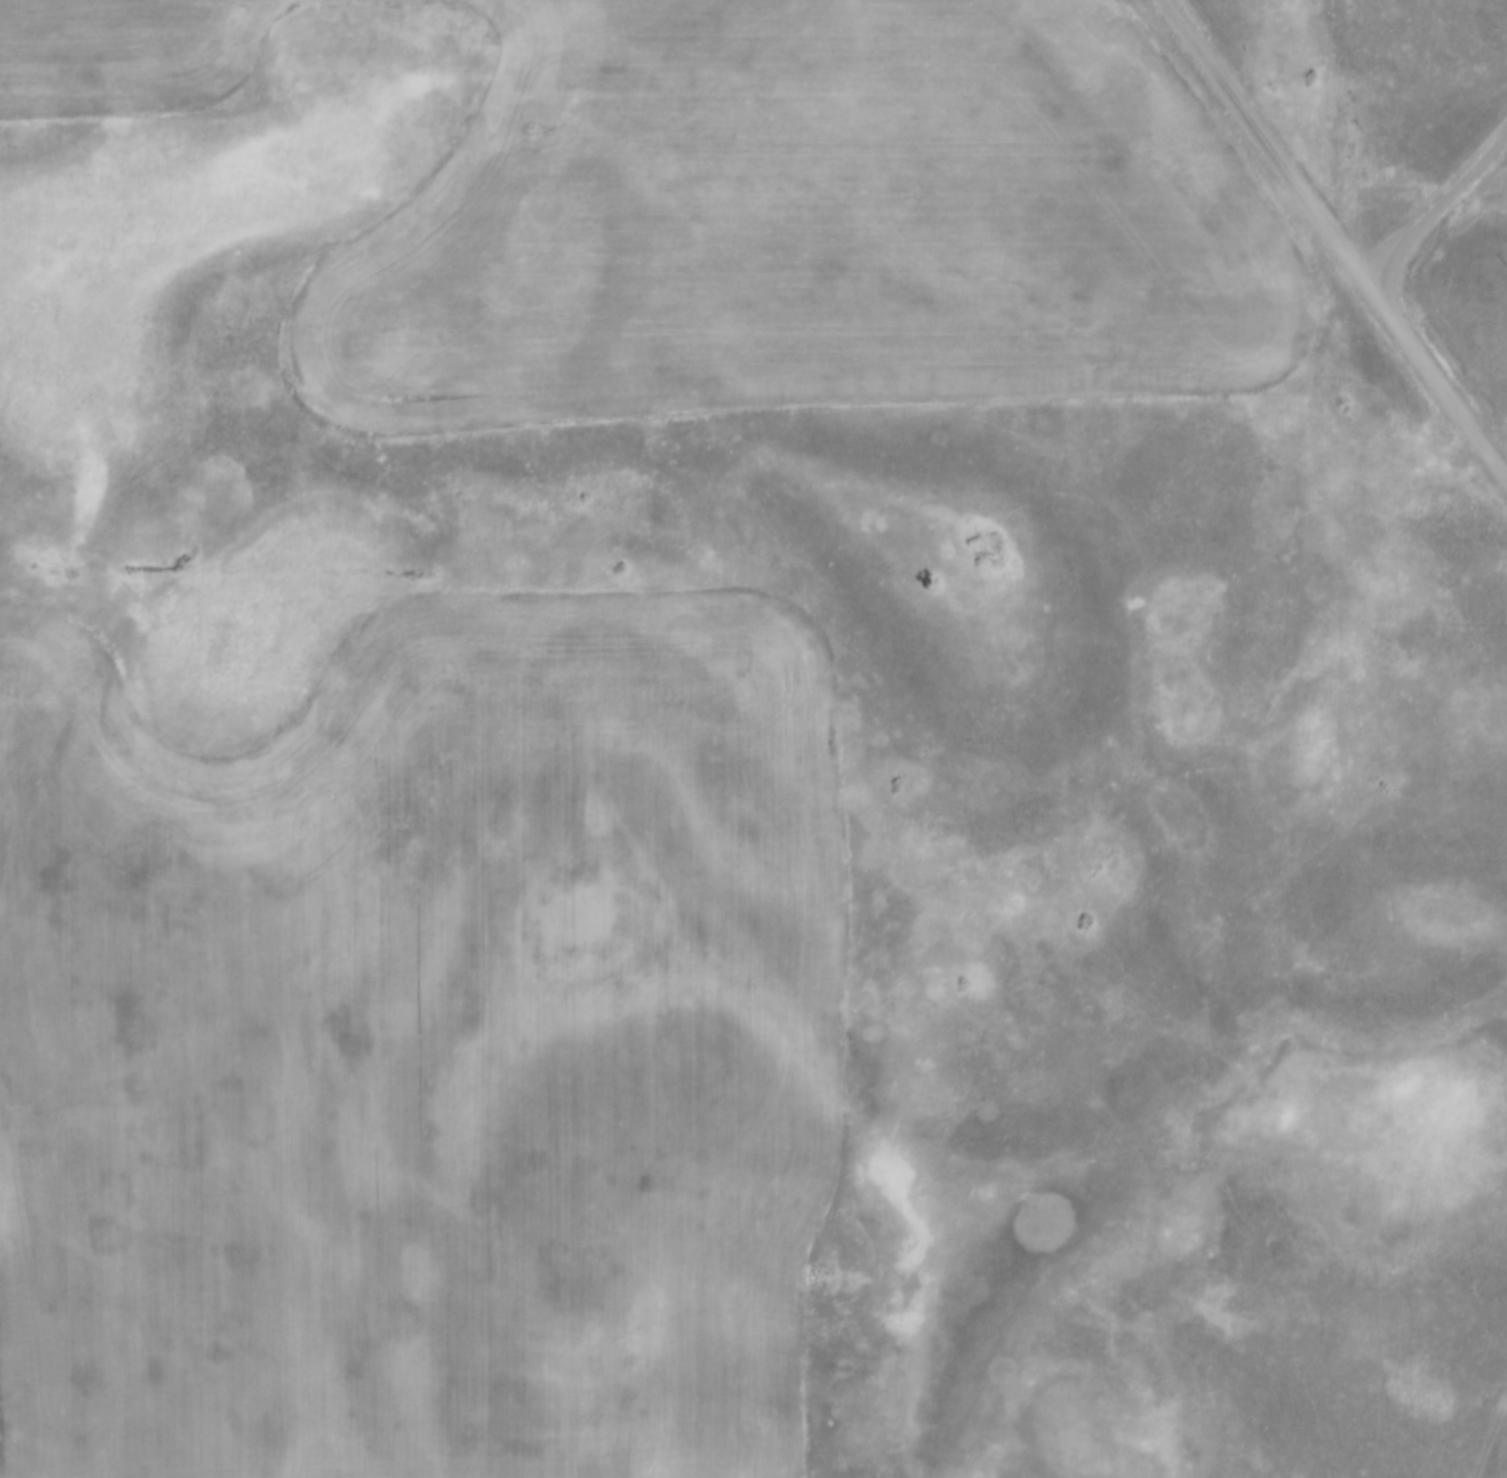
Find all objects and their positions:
road: (1341, 306)
road: (1504, 1444)

